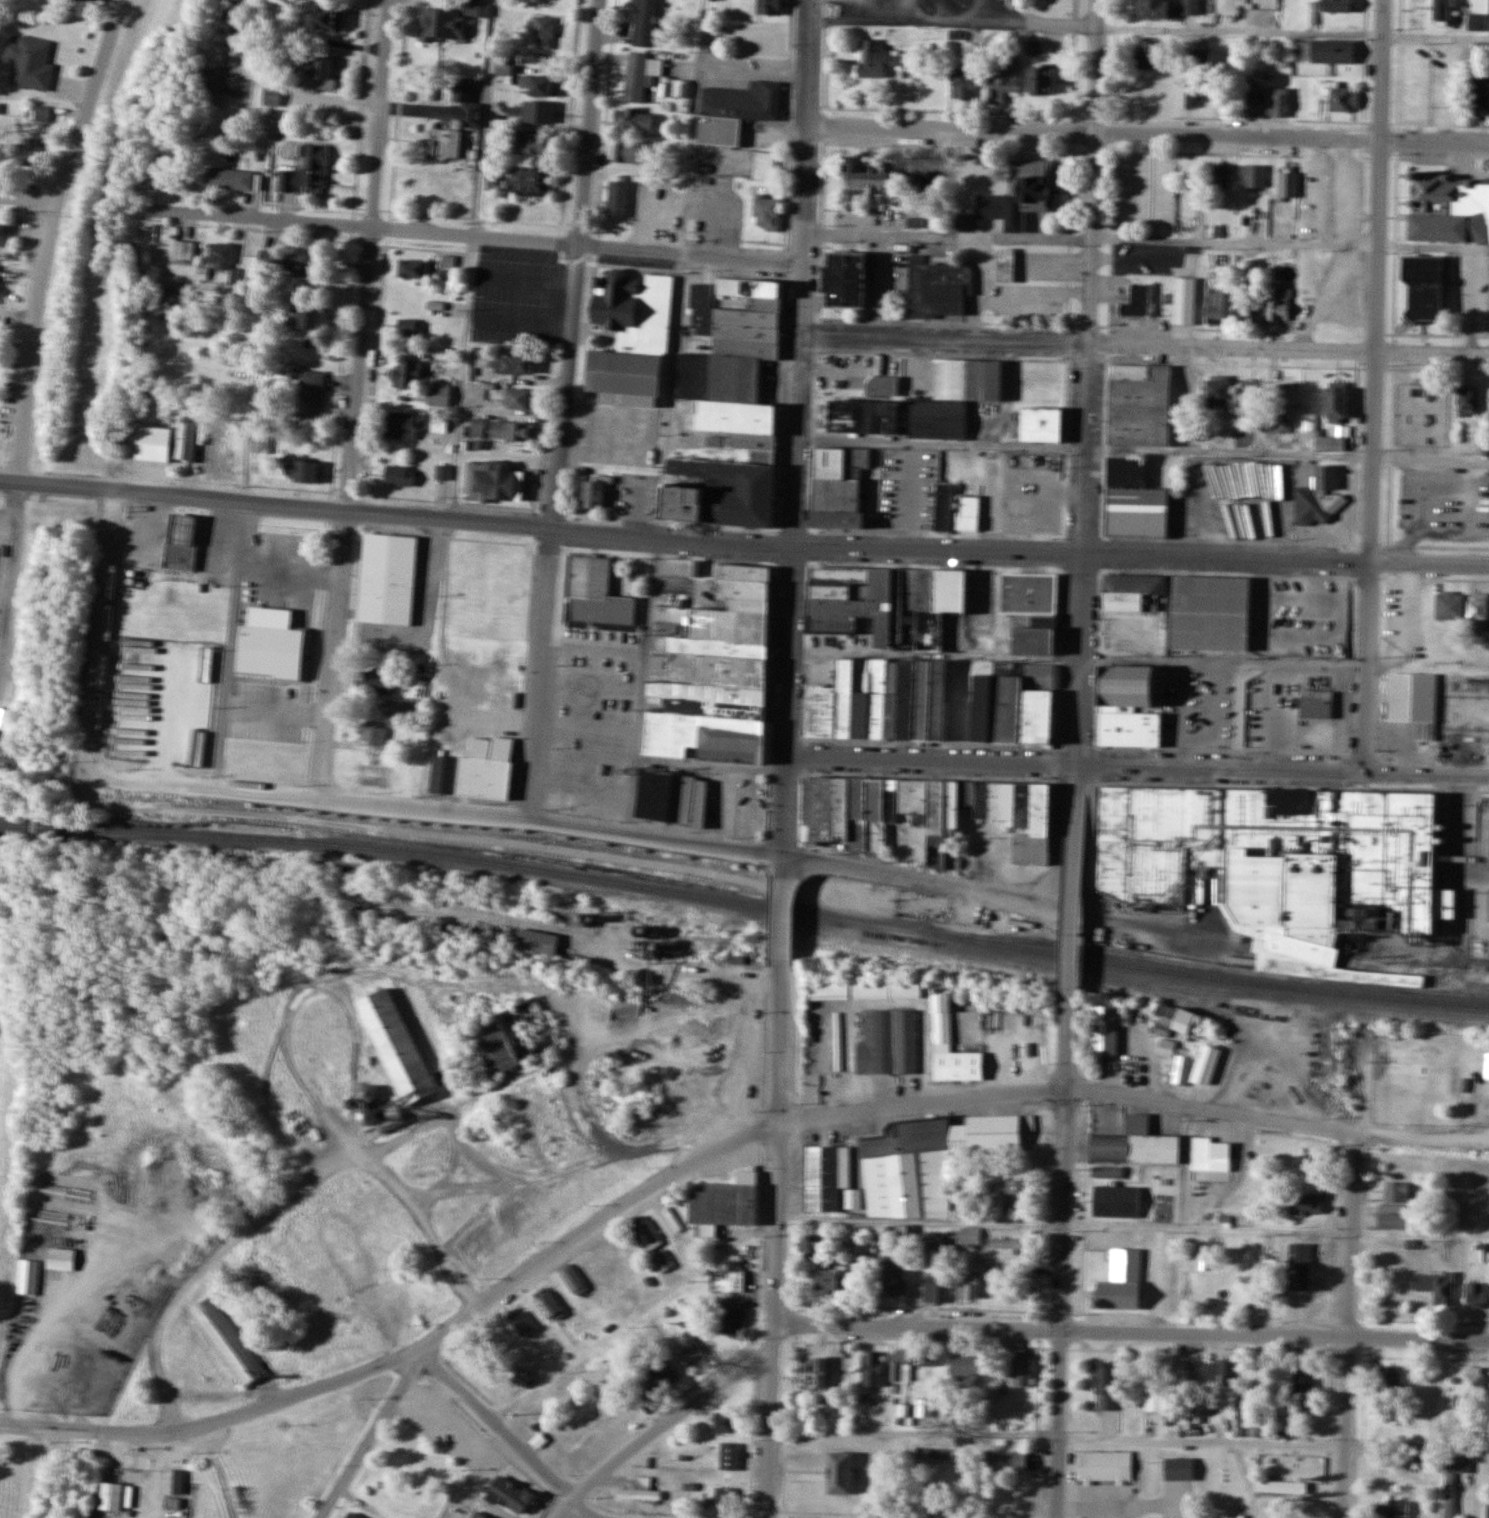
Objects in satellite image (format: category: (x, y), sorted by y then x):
building: (1336, 6)
building: (768, 7)
building: (1191, 7)
building: (1154, 9)
building: (1443, 11)
building: (323, 18)
building: (233, 21)
building: (451, 21)
building: (644, 23)
building: (542, 32)
building: (1326, 51)
building: (1153, 56)
building: (1202, 58)
building: (876, 59)
building: (30, 63)
building: (322, 74)
building: (640, 75)
building: (1002, 81)
building: (1040, 81)
building: (962, 84)
building: (538, 86)
building: (1482, 92)
building: (271, 96)
building: (1194, 96)
building: (1338, 97)
building: (1249, 102)
building: (1279, 103)
building: (468, 105)
building: (735, 111)
building: (535, 113)
building: (41, 114)
building: (633, 120)
road: (1145, 135)
building: (448, 144)
building: (531, 144)
building: (23, 152)
building: (628, 153)
building: (763, 166)
building: (1253, 176)
building: (1220, 177)
building: (868, 178)
building: (229, 179)
building: (525, 179)
building: (300, 180)
building: (923, 183)
building: (1024, 193)
building: (1288, 195)
road: (26, 197)
building: (617, 199)
building: (1449, 209)
building: (765, 212)
building: (1, 235)
road: (477, 238)
building: (183, 251)
building: (223, 263)
building: (1006, 265)
building: (302, 266)
building: (412, 269)
building: (1253, 273)
building: (845, 282)
building: (1424, 287)
building: (936, 288)
building: (694, 295)
building: (180, 298)
building: (408, 298)
building: (1183, 300)
building: (1137, 301)
building: (1275, 303)
building: (1219, 308)
building: (1244, 311)
road: (36, 318)
building: (308, 318)
building: (410, 327)
building: (630, 339)
road: (1143, 347)
building: (513, 364)
building: (736, 372)
building: (407, 375)
road: (797, 379)
road: (1087, 383)
road: (1376, 385)
building: (884, 387)
building: (1219, 391)
building: (309, 394)
building: (439, 395)
building: (1249, 396)
building: (953, 398)
road: (355, 399)
building: (501, 400)
building: (1282, 401)
building: (1467, 401)
building: (1138, 405)
building: (1336, 405)
road: (565, 408)
building: (862, 417)
building: (400, 425)
building: (477, 426)
building: (1041, 426)
building: (512, 431)
building: (185, 441)
building: (1328, 443)
building: (219, 449)
building: (300, 471)
building: (1124, 471)
building: (398, 475)
building: (1325, 476)
building: (493, 482)
building: (838, 488)
building: (593, 495)
building: (721, 495)
building: (944, 506)
building: (1137, 510)
building: (968, 512)
road: (395, 515)
building: (180, 542)
road: (1139, 557)
building: (386, 579)
building: (1133, 591)
building: (595, 593)
building: (1415, 604)
building: (883, 605)
building: (1448, 605)
building: (1479, 605)
building: (1032, 609)
building: (1211, 611)
building: (270, 645)
building: (716, 672)
building: (374, 679)
building: (1126, 683)
building: (1412, 700)
building: (932, 703)
building: (1315, 704)
building: (396, 708)
building: (1130, 727)
building: (374, 738)
road: (1138, 767)
building: (477, 769)
road: (297, 796)
building: (673, 796)
road: (1075, 801)
road: (785, 806)
building: (924, 811)
road: (781, 862)
building: (953, 862)
building: (1280, 865)
road: (915, 877)
building: (848, 895)
railway: (745, 903)
building: (1488, 910)
road: (780, 923)
road: (1071, 940)
building: (534, 942)
railway: (1203, 965)
railway: (1145, 984)
building: (864, 990)
building: (1172, 1021)
building: (942, 1022)
railway: (1231, 1022)
building: (1104, 1030)
building: (512, 1038)
building: (887, 1042)
building: (396, 1045)
building: (1165, 1047)
building: (1204, 1064)
building: (1181, 1066)
road: (1132, 1095)
building: (300, 1127)
building: (997, 1131)
building: (1134, 1144)
building: (1207, 1152)
building: (912, 1169)
building: (1106, 1171)
building: (831, 1178)
building: (1396, 1191)
building: (1012, 1194)
building: (1116, 1201)
building: (722, 1202)
building: (1307, 1203)
building: (1395, 1217)
building: (879, 1232)
building: (645, 1233)
building: (903, 1233)
building: (968, 1235)
building: (933, 1240)
building: (1010, 1243)
building: (813, 1244)
road: (773, 1246)
building: (617, 1251)
building: (60, 1259)
building: (662, 1261)
building: (591, 1264)
building: (1310, 1276)
building: (27, 1277)
building: (728, 1278)
building: (830, 1279)
building: (893, 1279)
building: (573, 1280)
road: (1061, 1280)
building: (1121, 1281)
road: (513, 1282)
building: (1164, 1282)
building: (1253, 1285)
building: (967, 1286)
building: (1436, 1286)
building: (1002, 1287)
building: (932, 1290)
building: (1474, 1294)
building: (548, 1304)
building: (732, 1316)
building: (520, 1322)
road: (1350, 1325)
road: (1130, 1331)
building: (228, 1340)
building: (690, 1350)
building: (928, 1362)
building: (901, 1366)
building: (967, 1366)
building: (871, 1370)
building: (1020, 1371)
building: (1220, 1372)
building: (816, 1373)
building: (1187, 1374)
building: (657, 1378)
building: (1392, 1379)
building: (1106, 1386)
building: (1305, 1388)
building: (1474, 1388)
building: (1155, 1400)
building: (1395, 1414)
road: (216, 1419)
building: (1257, 1421)
building: (722, 1423)
building: (586, 1428)
road: (656, 1428)
road: (509, 1435)
building: (729, 1456)
building: (1007, 1462)
building: (1102, 1465)
building: (1178, 1468)
building: (840, 1471)
building: (173, 1482)
building: (1281, 1487)
building: (638, 1491)
building: (510, 1494)
building: (1448, 1495)
building: (110, 1496)
building: (725, 1496)
building: (1394, 1509)
building: (1487, 1510)
building: (353, 1514)
building: (478, 1515)

